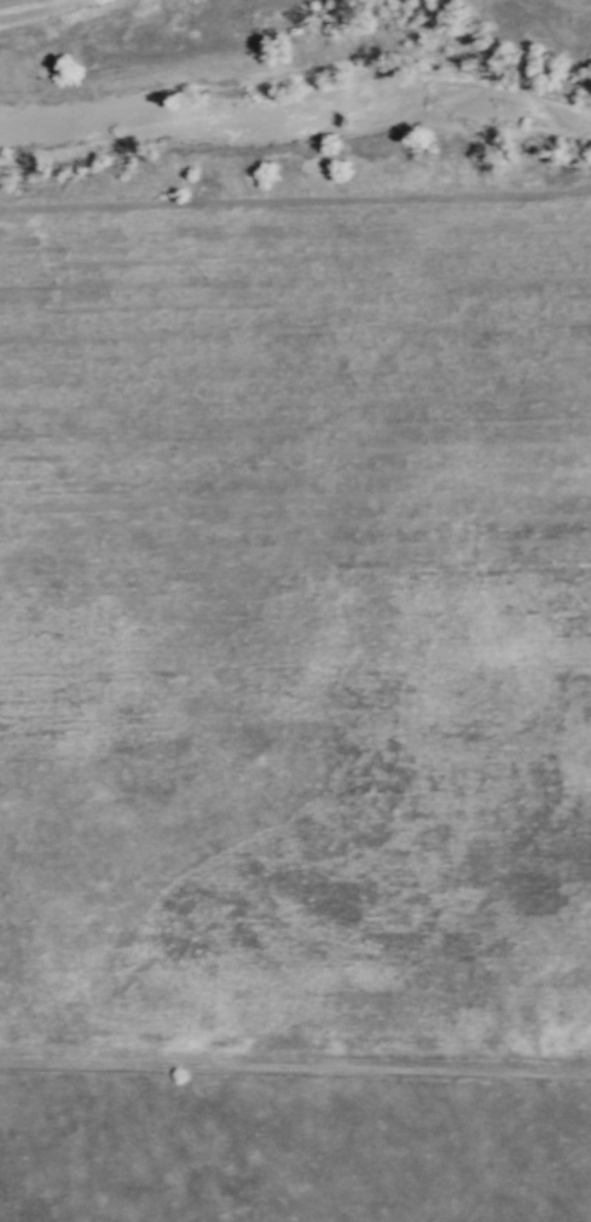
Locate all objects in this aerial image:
road: (50, 8)
river: (295, 106)
crop: (295, 431)
crop: (299, 872)
road: (295, 1068)

